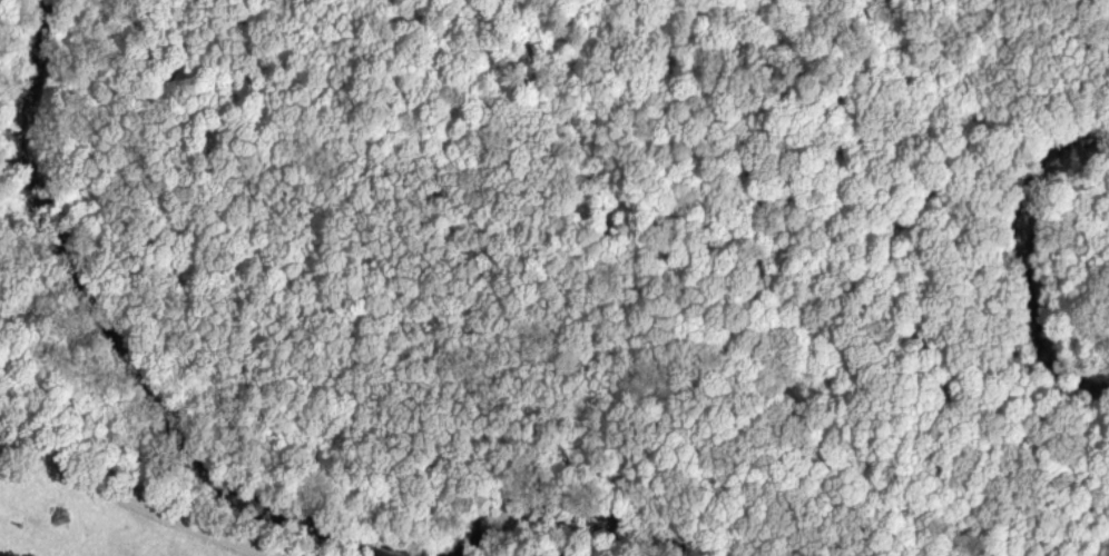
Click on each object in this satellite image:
road: (147, 495)

